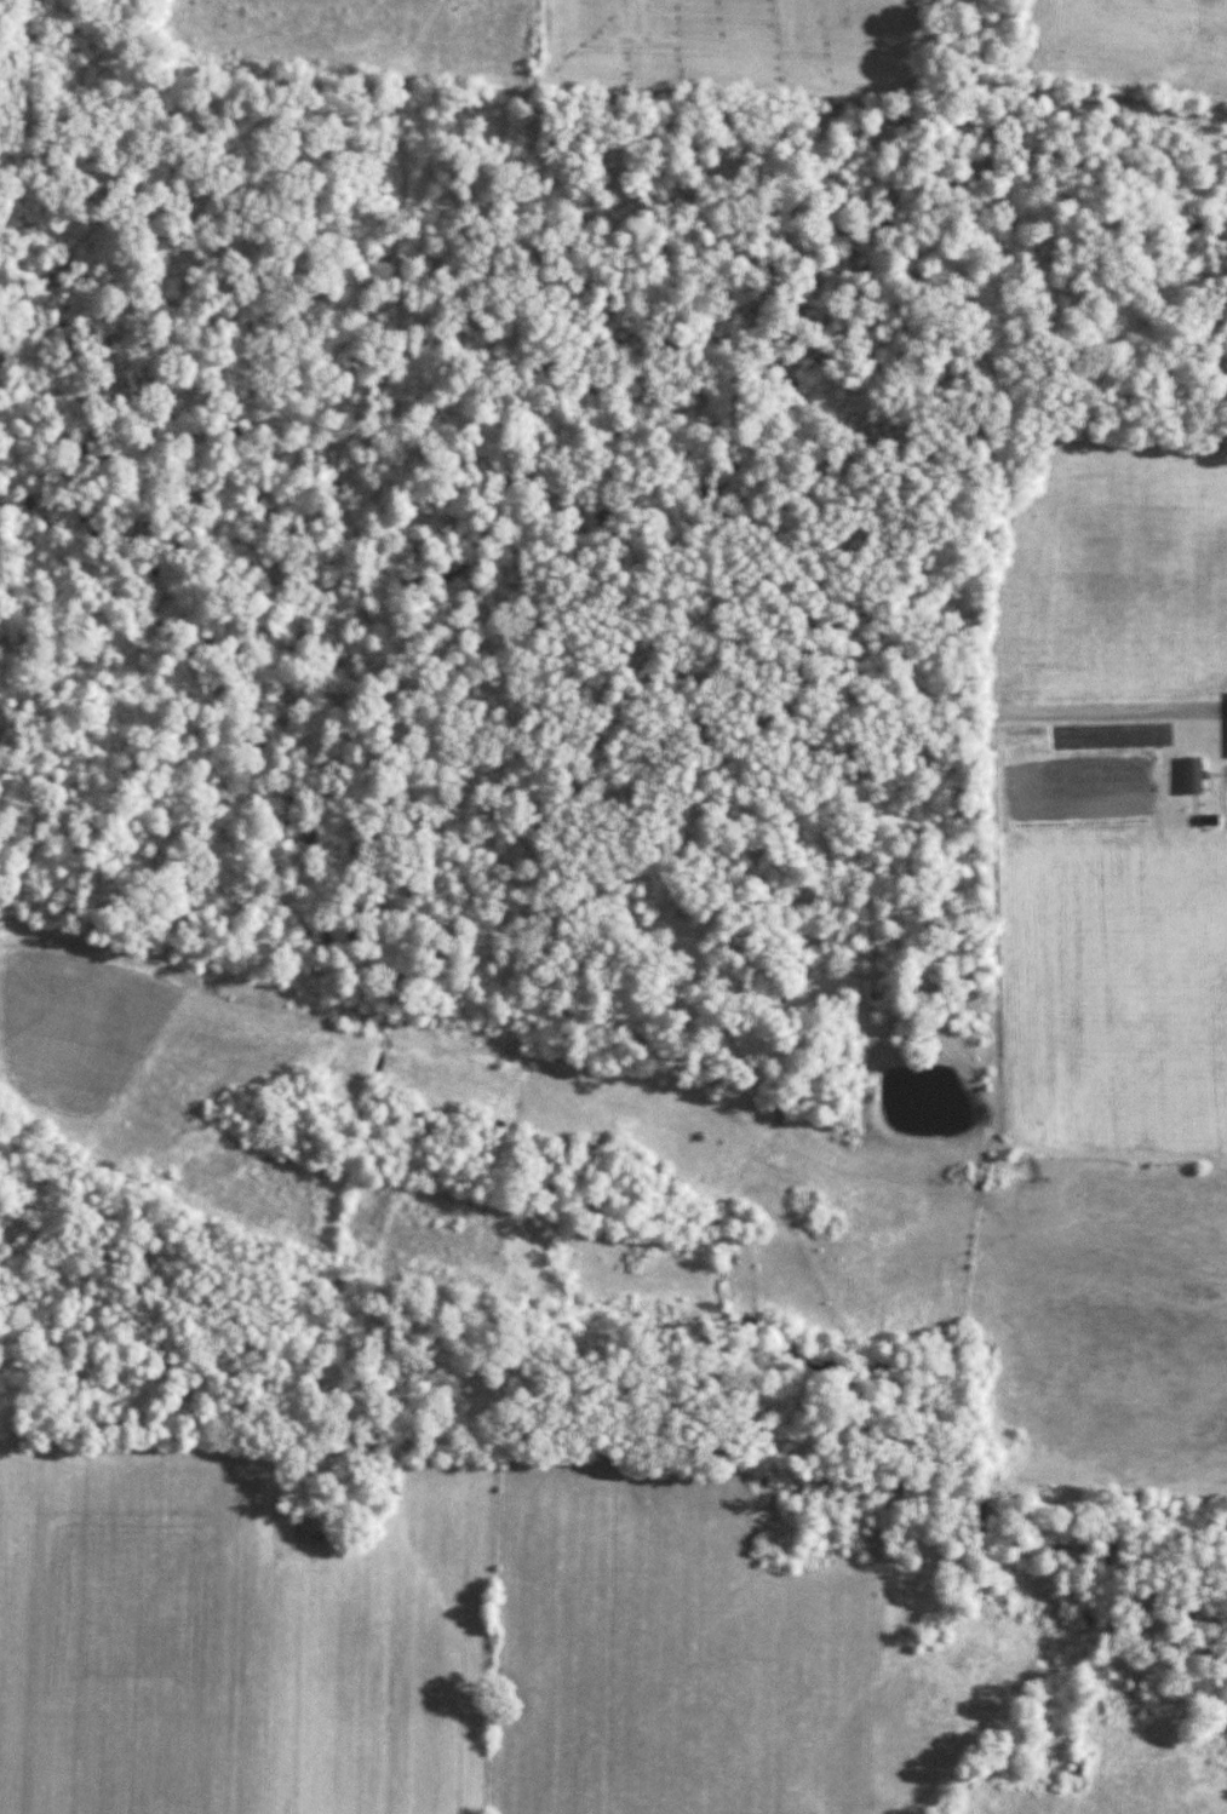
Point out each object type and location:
road: (607, 1087)

